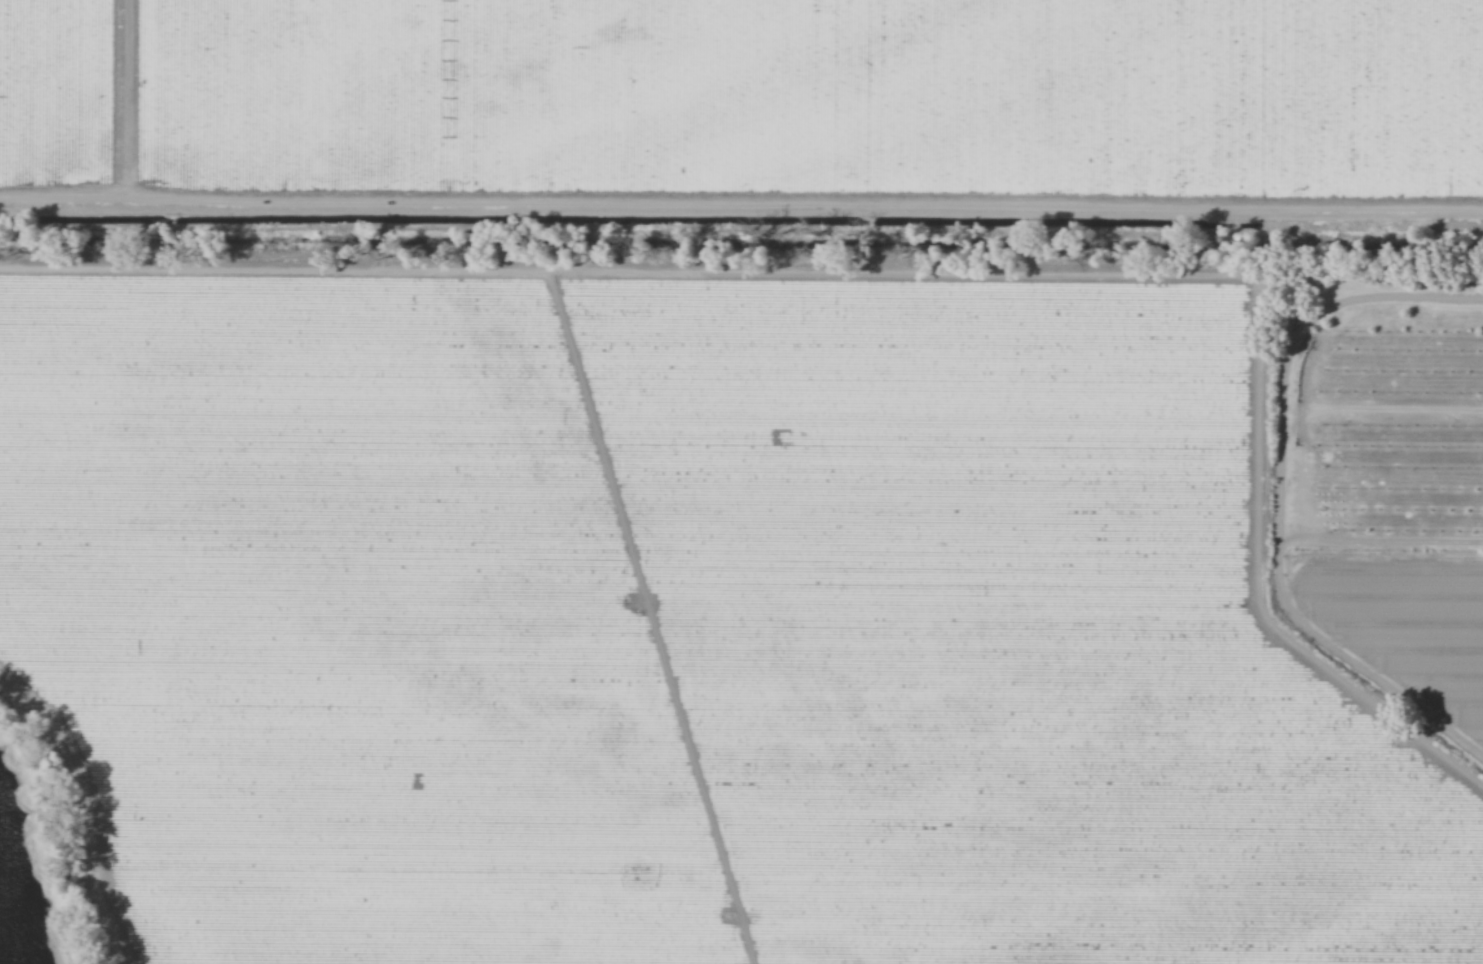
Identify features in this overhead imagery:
road: (741, 209)
road: (1299, 341)
road: (1381, 542)
road: (1356, 665)

